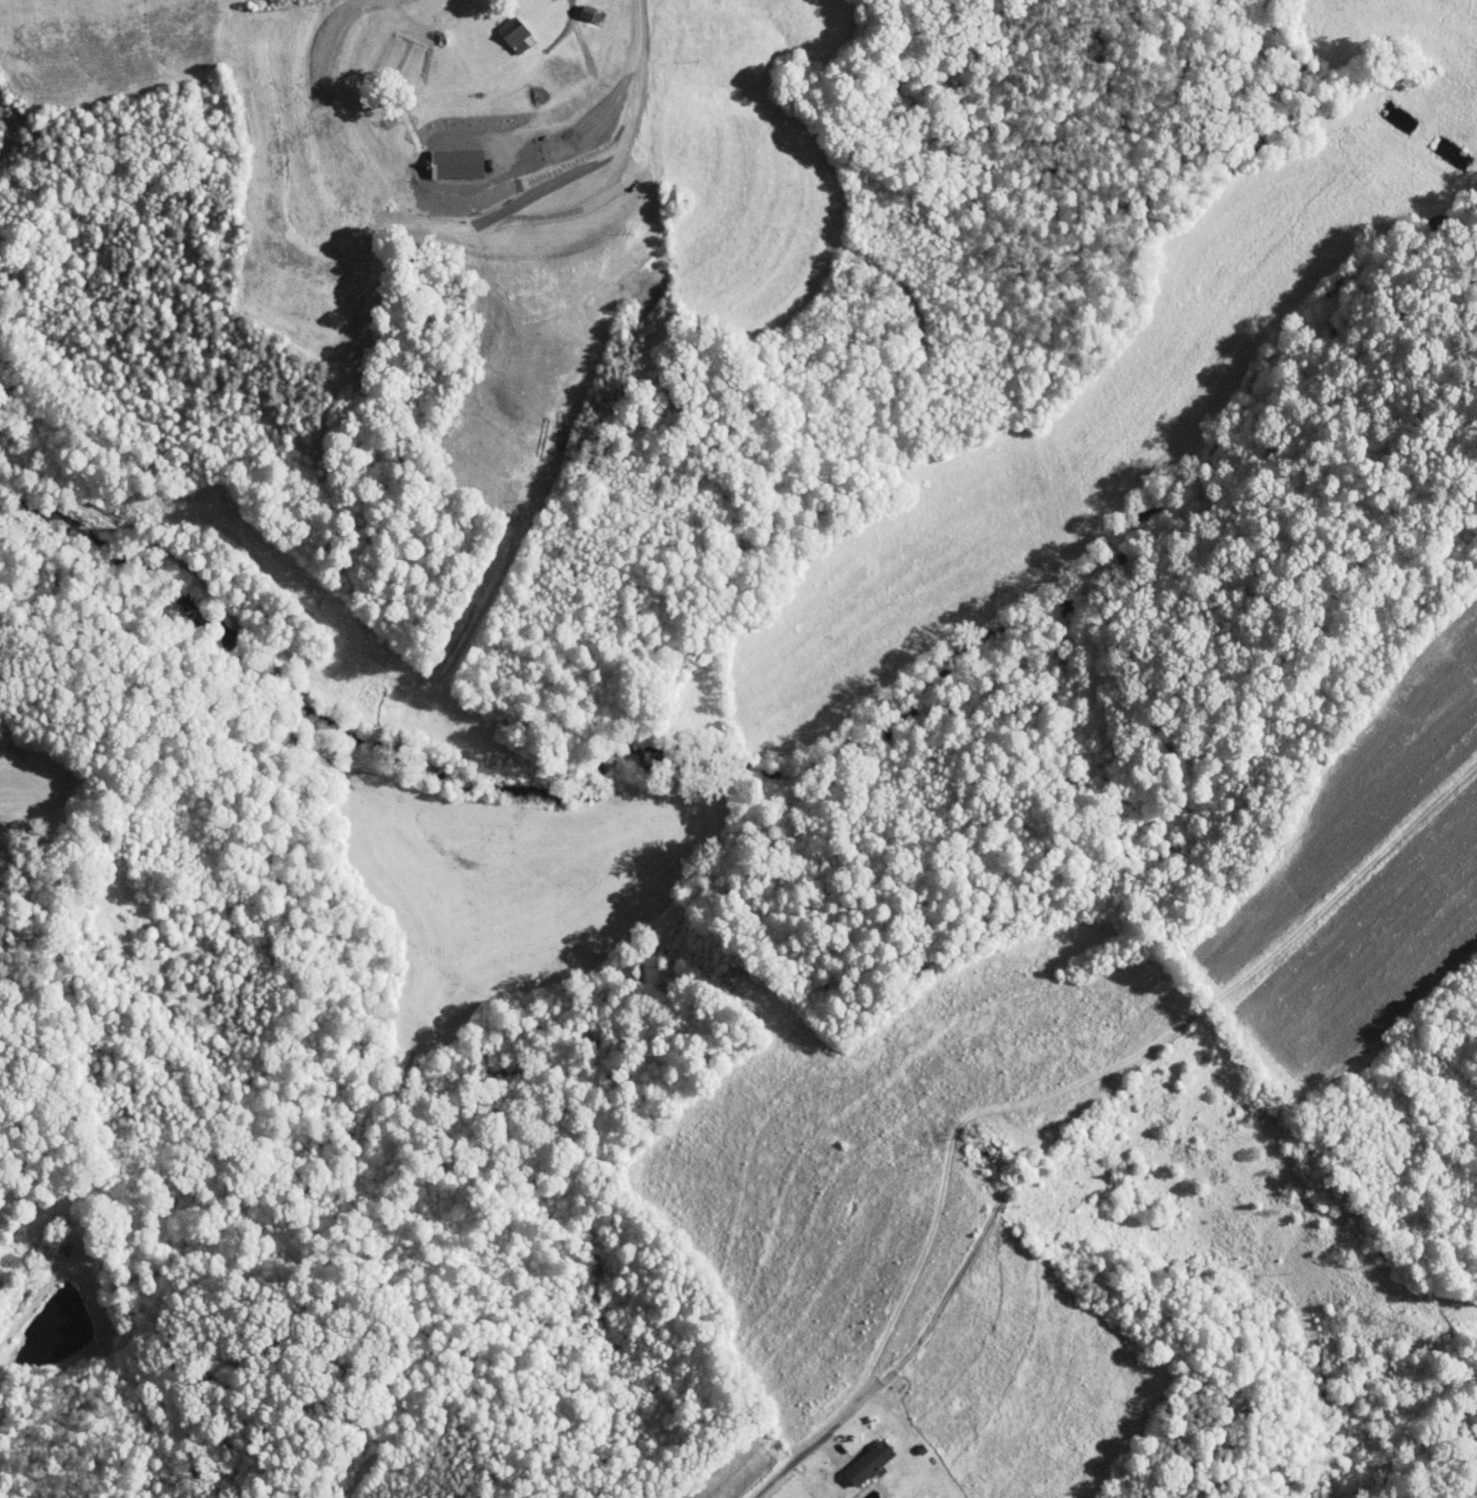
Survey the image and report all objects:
building: (501, 32)
road: (1093, 1113)
building: (852, 1455)

